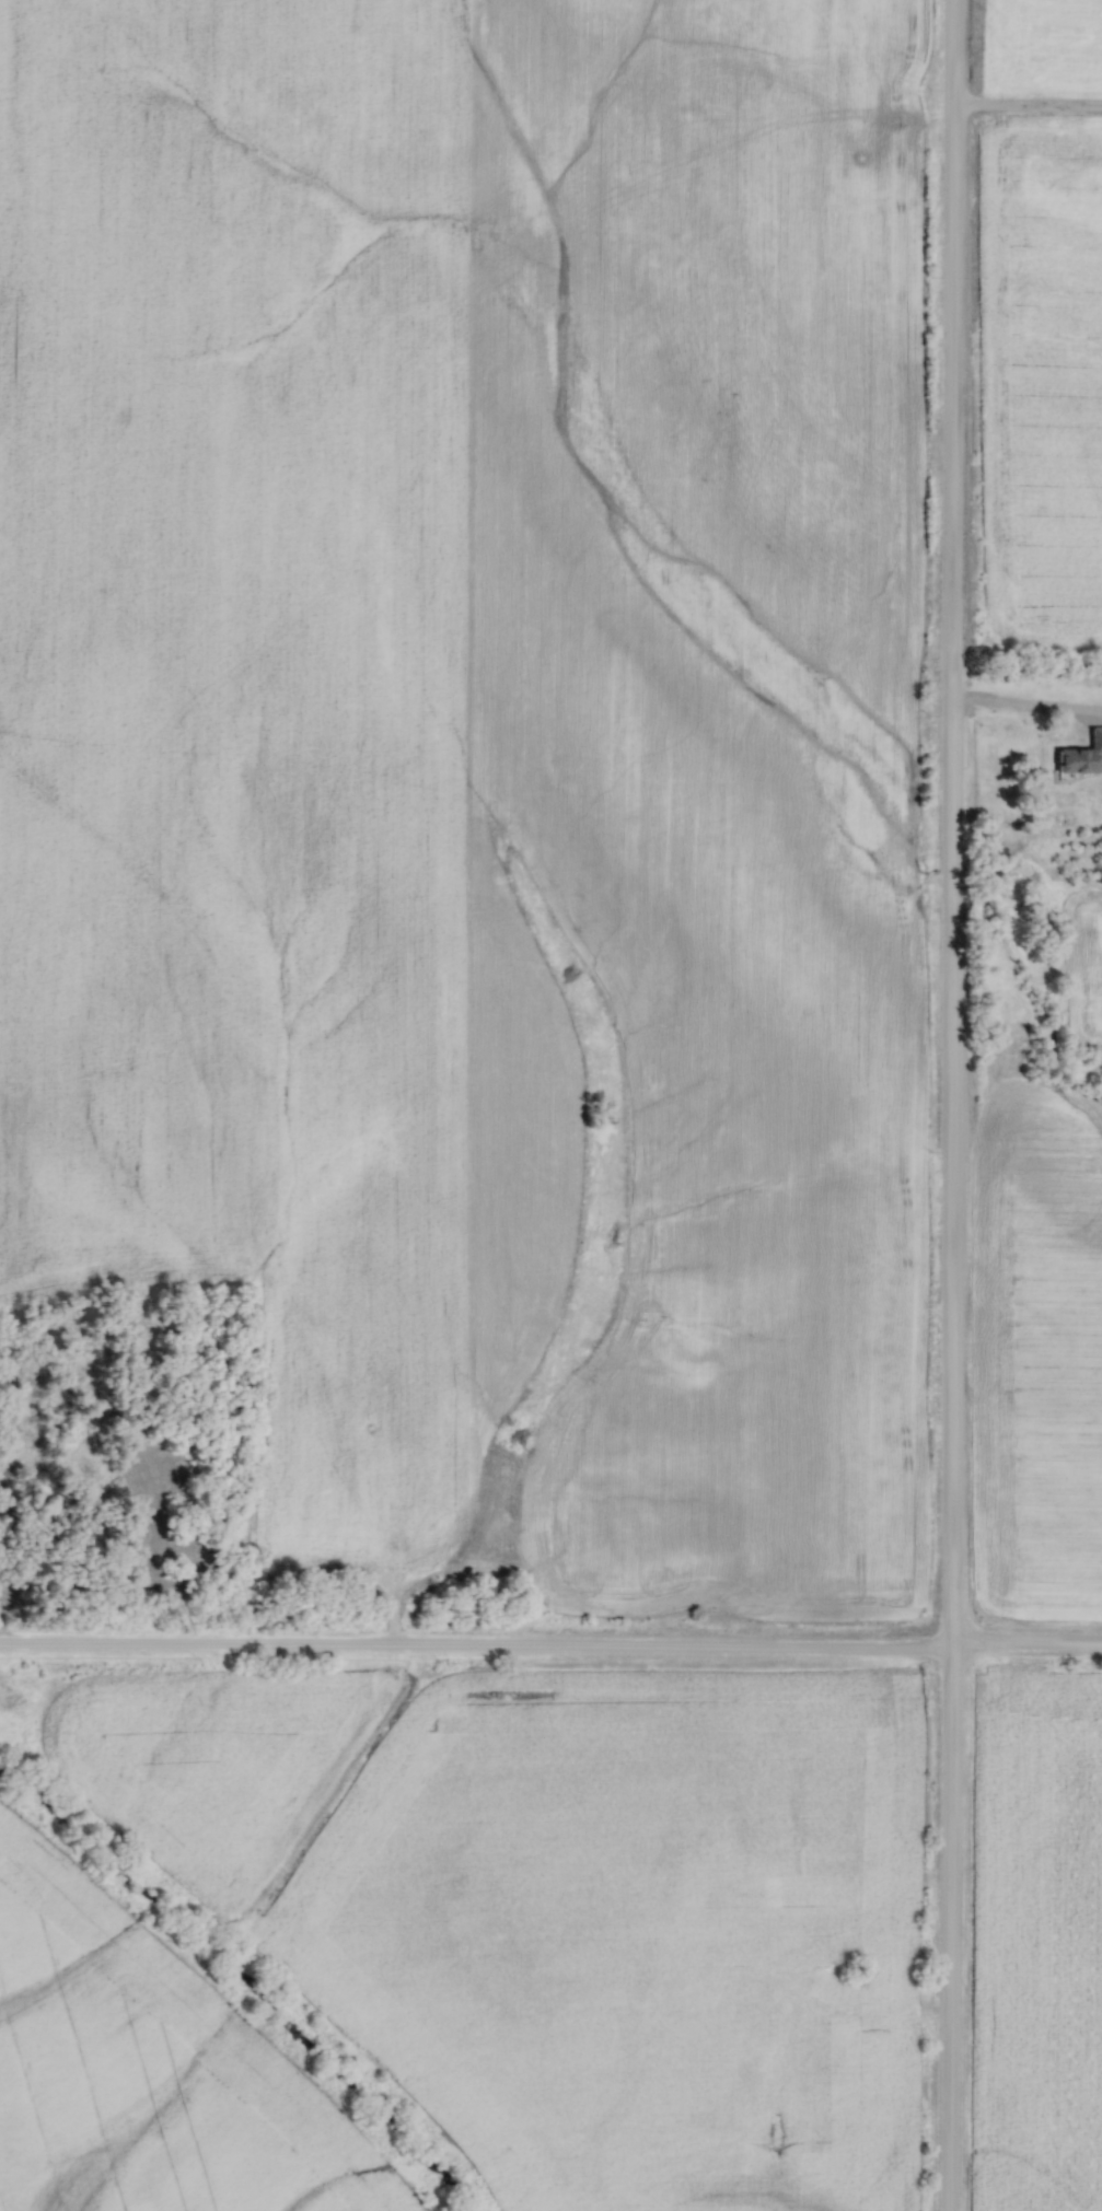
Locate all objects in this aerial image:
road: (1026, 108)
road: (1025, 708)
building: (1076, 757)
road: (950, 1105)
road: (550, 1645)

